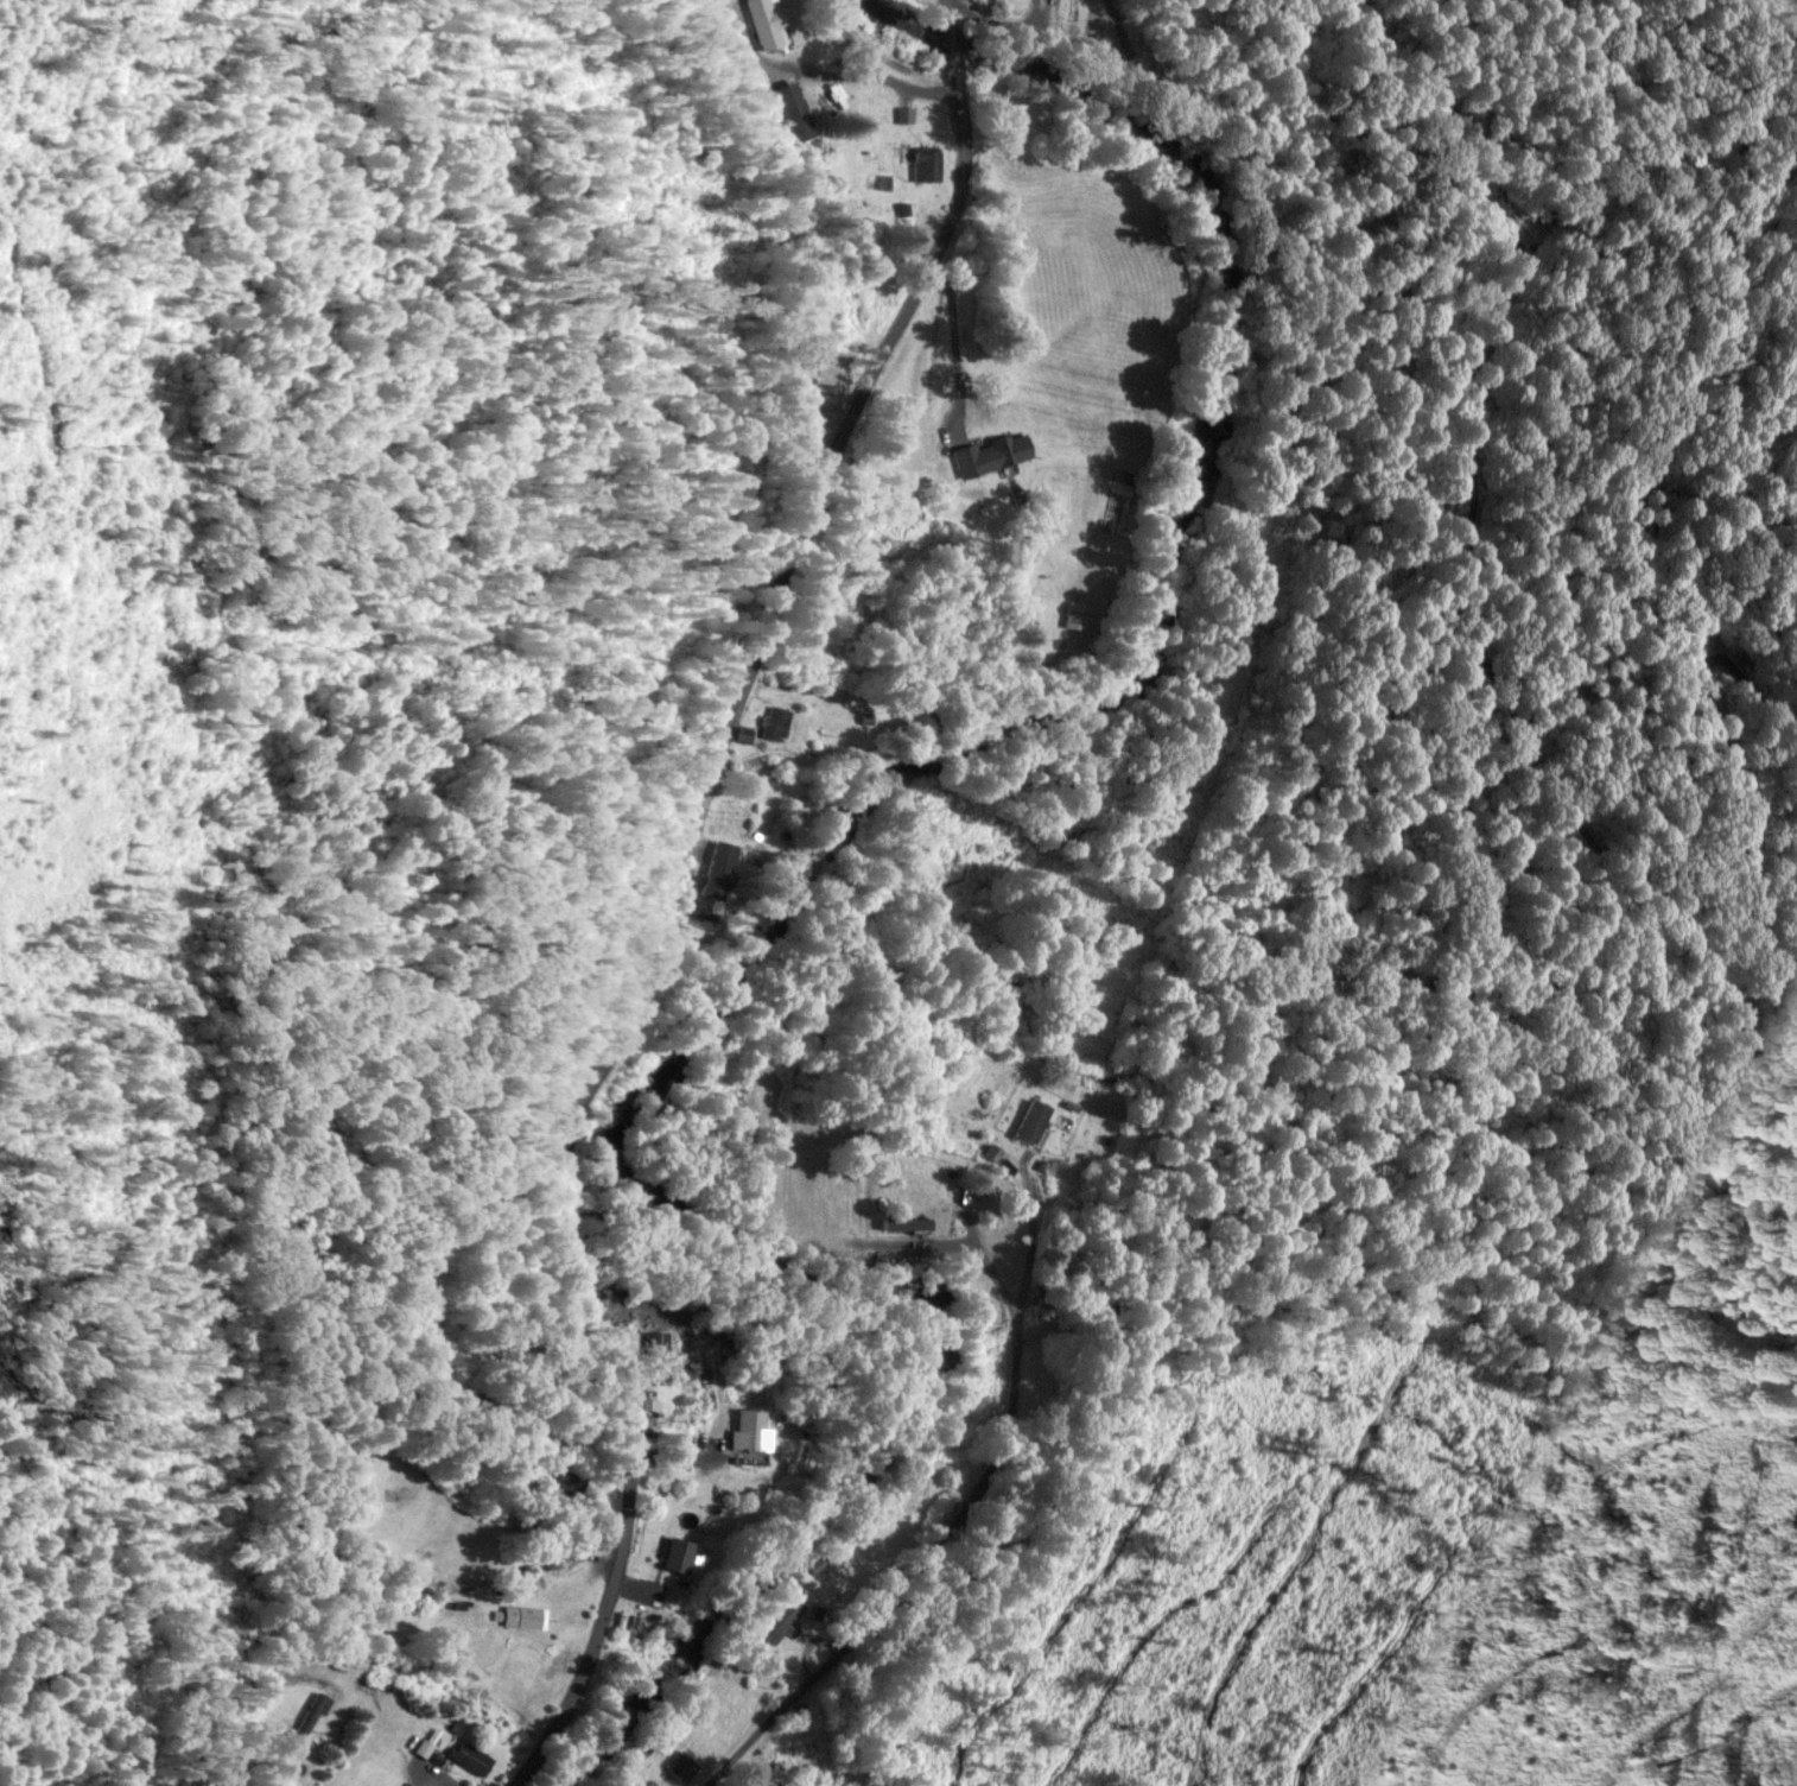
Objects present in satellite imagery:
building: (927, 161)
road: (1242, 196)
building: (805, 372)
building: (1007, 398)
building: (1003, 457)
building: (773, 721)
road: (662, 893)
building: (1034, 1130)
building: (900, 1221)
building: (656, 1356)
building: (749, 1427)
road: (970, 1478)
building: (573, 1550)
building: (678, 1552)
building: (521, 1614)
building: (782, 1614)
building: (468, 1755)
building: (680, 1763)

